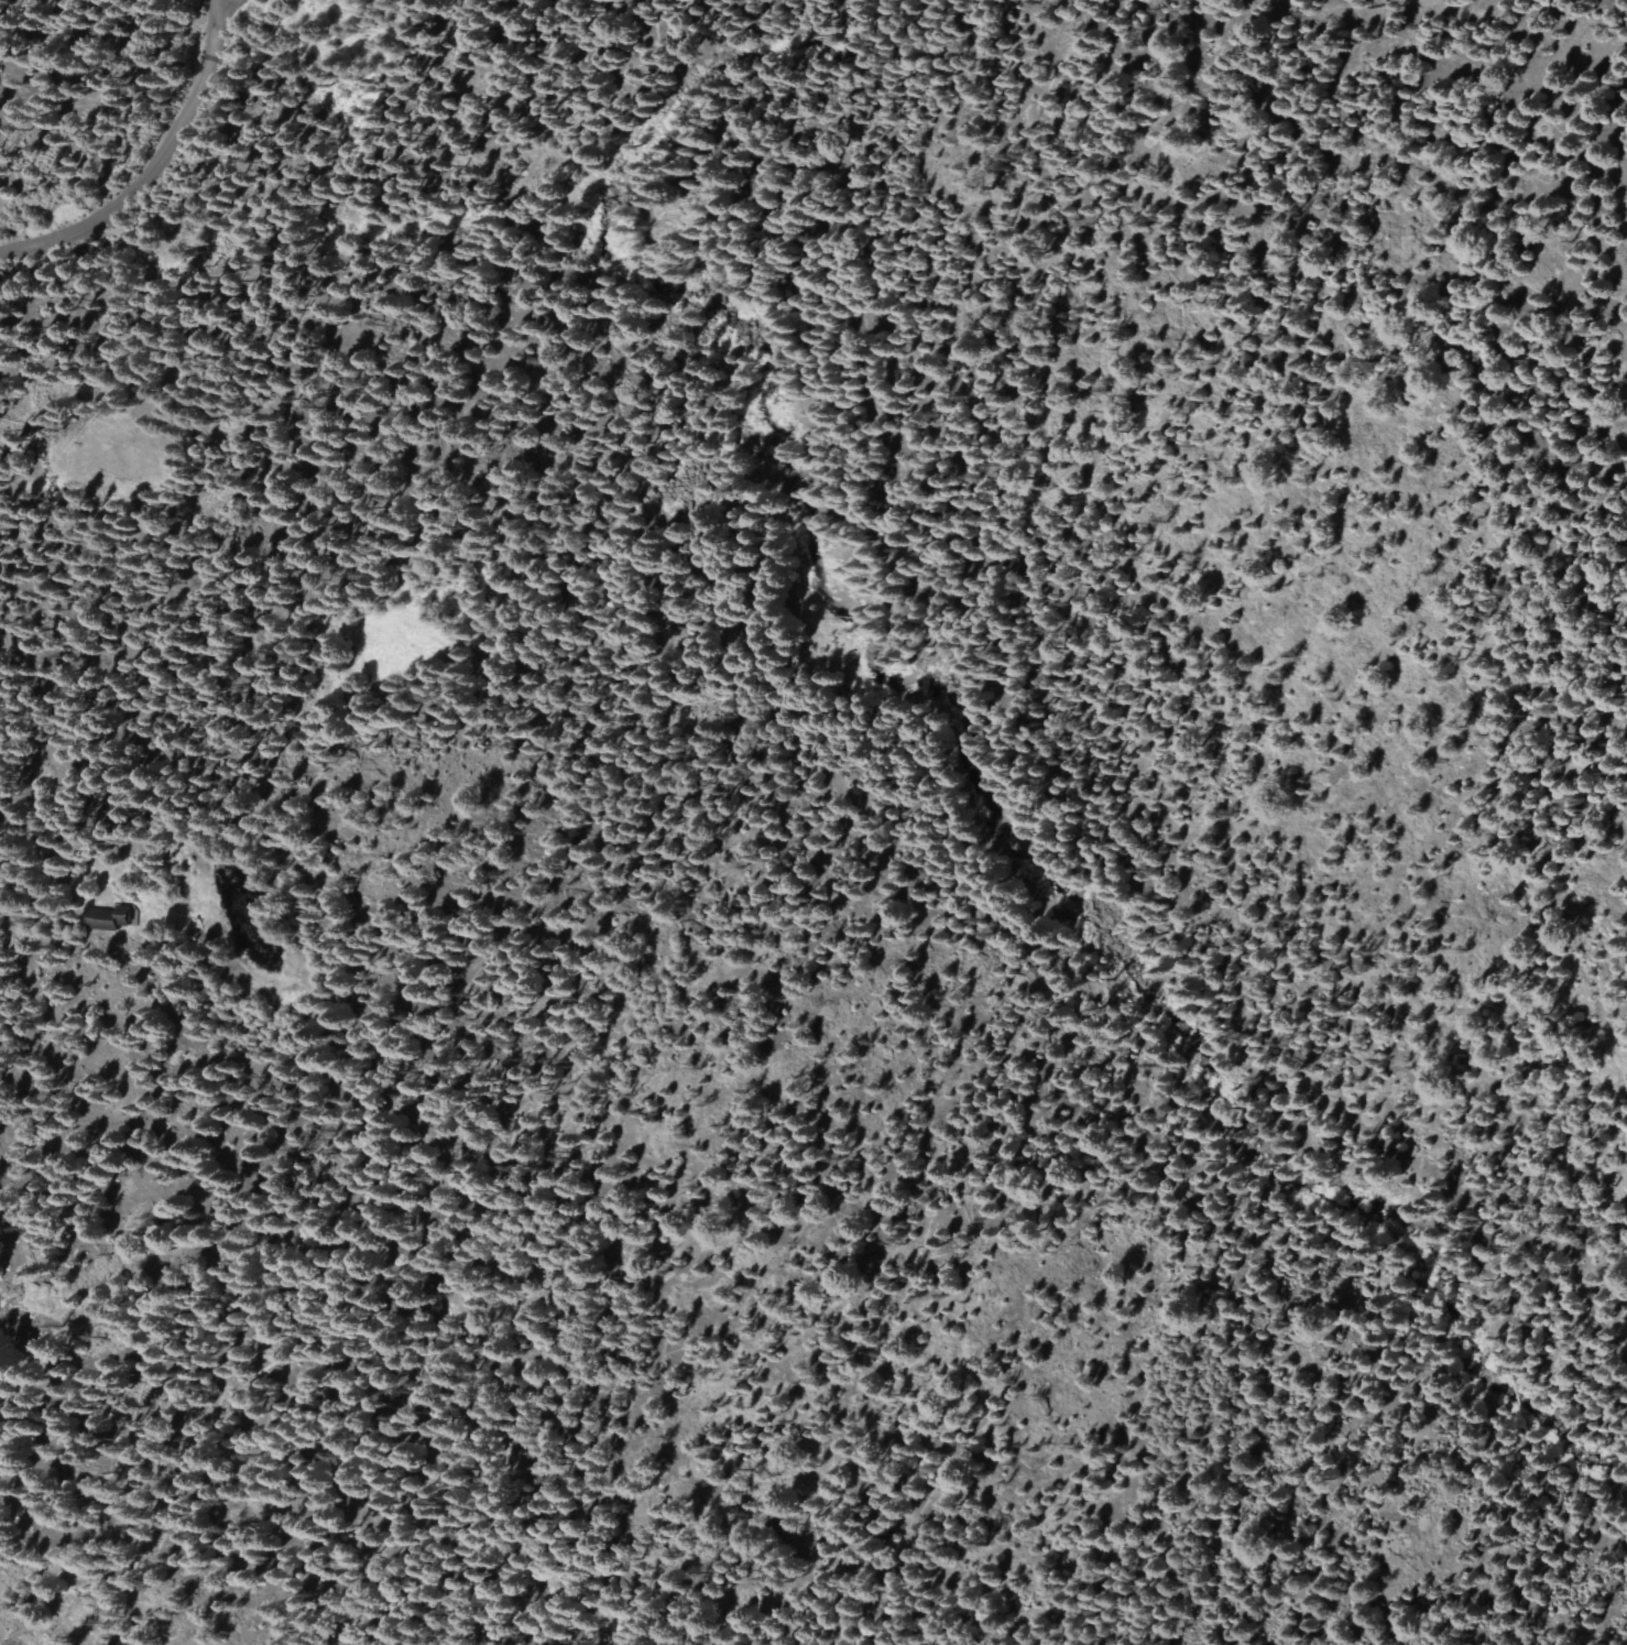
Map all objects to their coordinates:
road: (223, 3)
road: (153, 165)
building: (108, 916)

